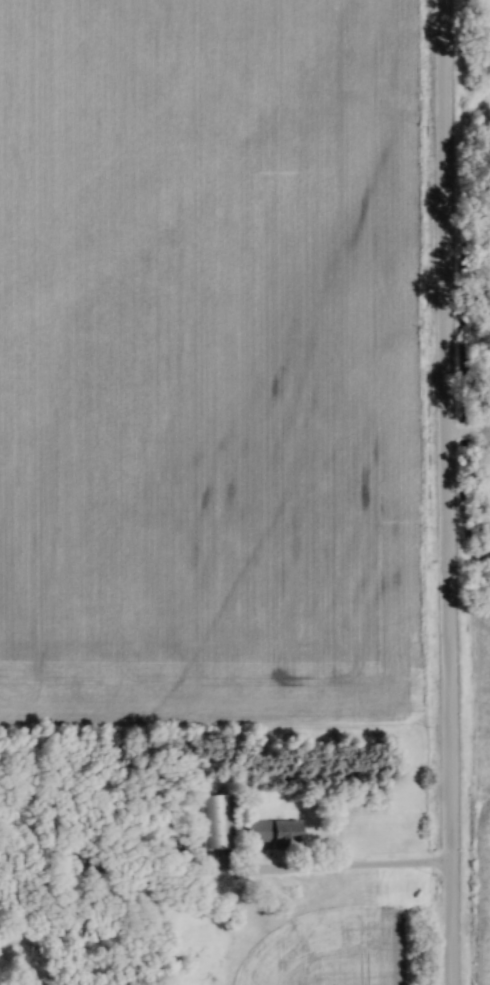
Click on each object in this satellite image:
road: (445, 492)
building: (218, 823)
building: (274, 834)
road: (333, 873)

